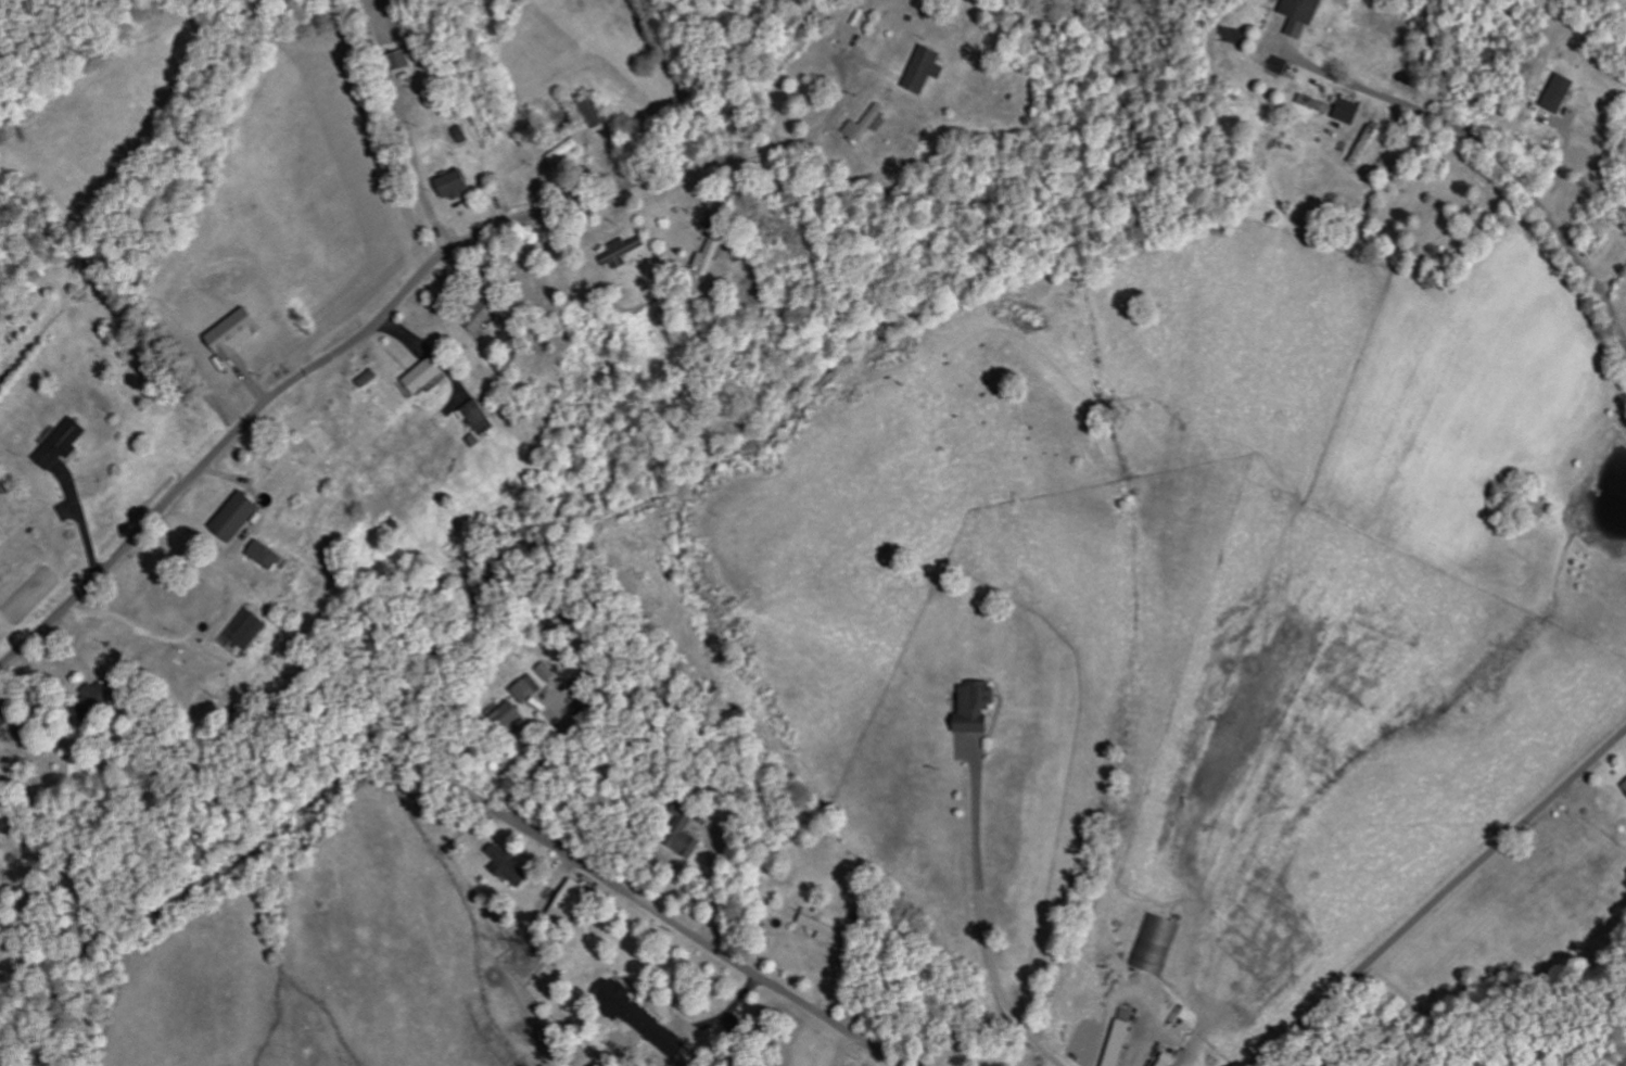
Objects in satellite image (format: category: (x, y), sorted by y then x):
building: (1305, 15)
building: (1236, 36)
building: (930, 71)
building: (1563, 94)
building: (1321, 106)
building: (1351, 112)
building: (597, 113)
building: (869, 125)
building: (465, 134)
road: (1504, 161)
building: (458, 185)
building: (625, 251)
building: (715, 251)
road: (396, 300)
building: (485, 319)
building: (240, 332)
building: (428, 376)
building: (481, 417)
building: (53, 435)
building: (65, 445)
building: (240, 516)
building: (270, 556)
building: (247, 632)
building: (550, 672)
building: (531, 689)
building: (100, 701)
building: (979, 708)
building: (516, 714)
building: (5, 723)
building: (690, 834)
building: (512, 867)
road: (1440, 899)
building: (575, 902)
road: (988, 918)
building: (825, 925)
road: (703, 941)
building: (1159, 946)
road: (1133, 994)
building: (644, 1017)
road: (849, 1050)
building: (1170, 1061)

